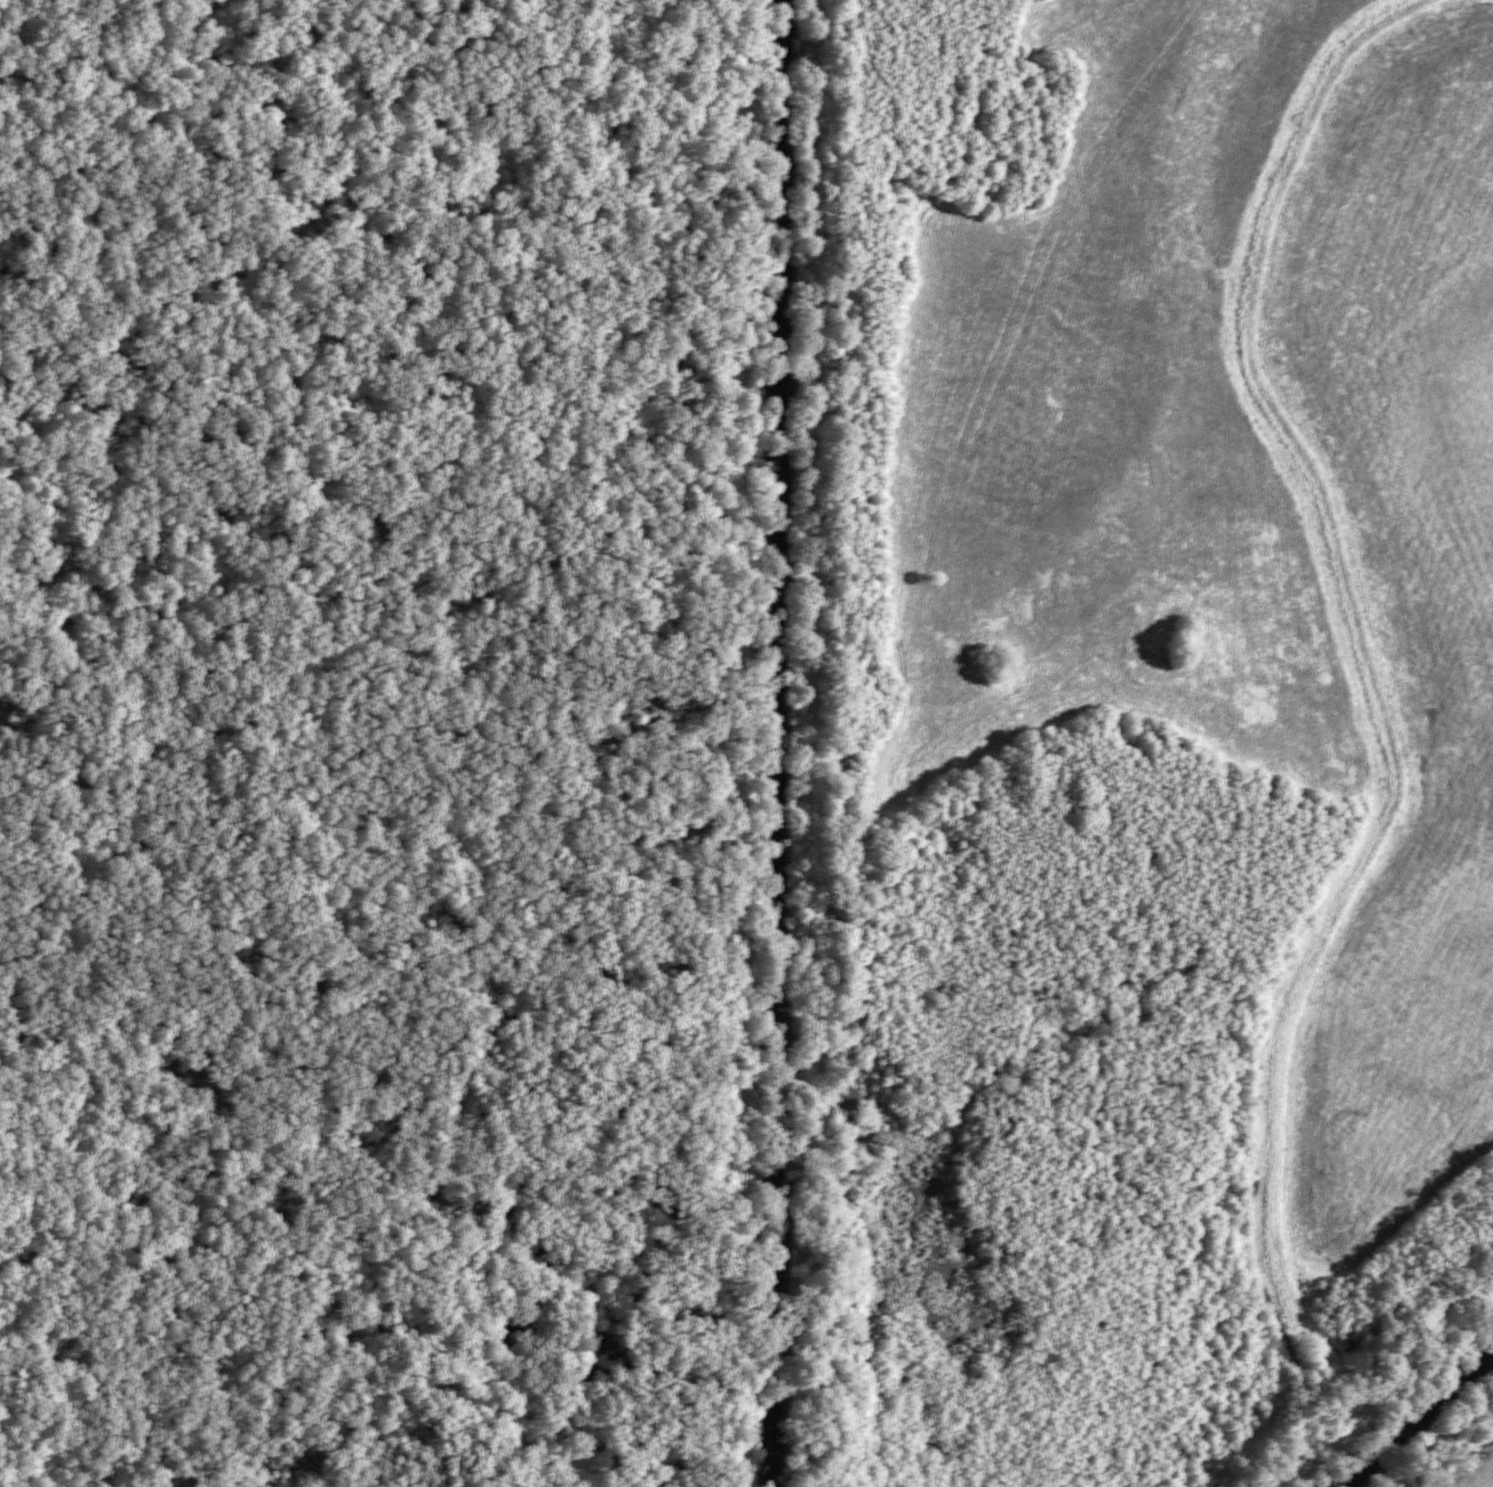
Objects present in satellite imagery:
road: (1462, 1294)

